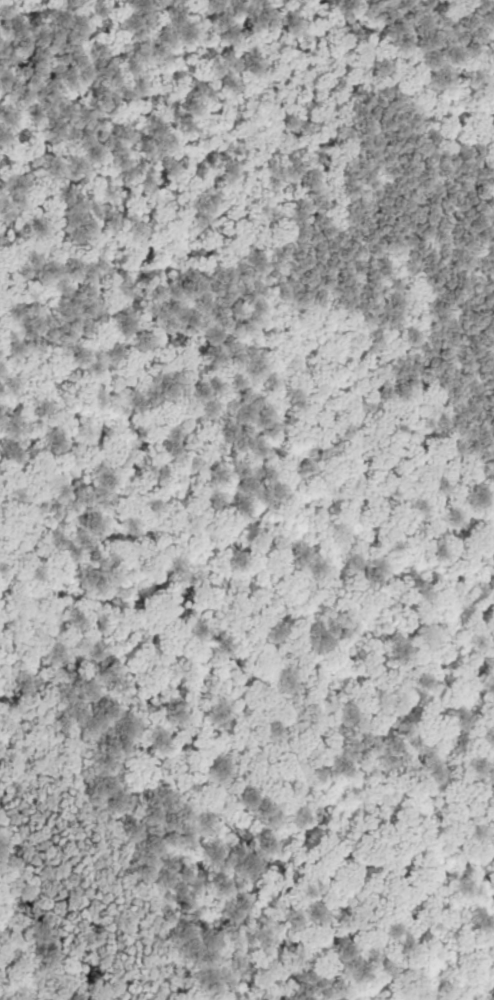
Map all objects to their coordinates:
road: (375, 449)
park: (247, 500)
road: (206, 816)

